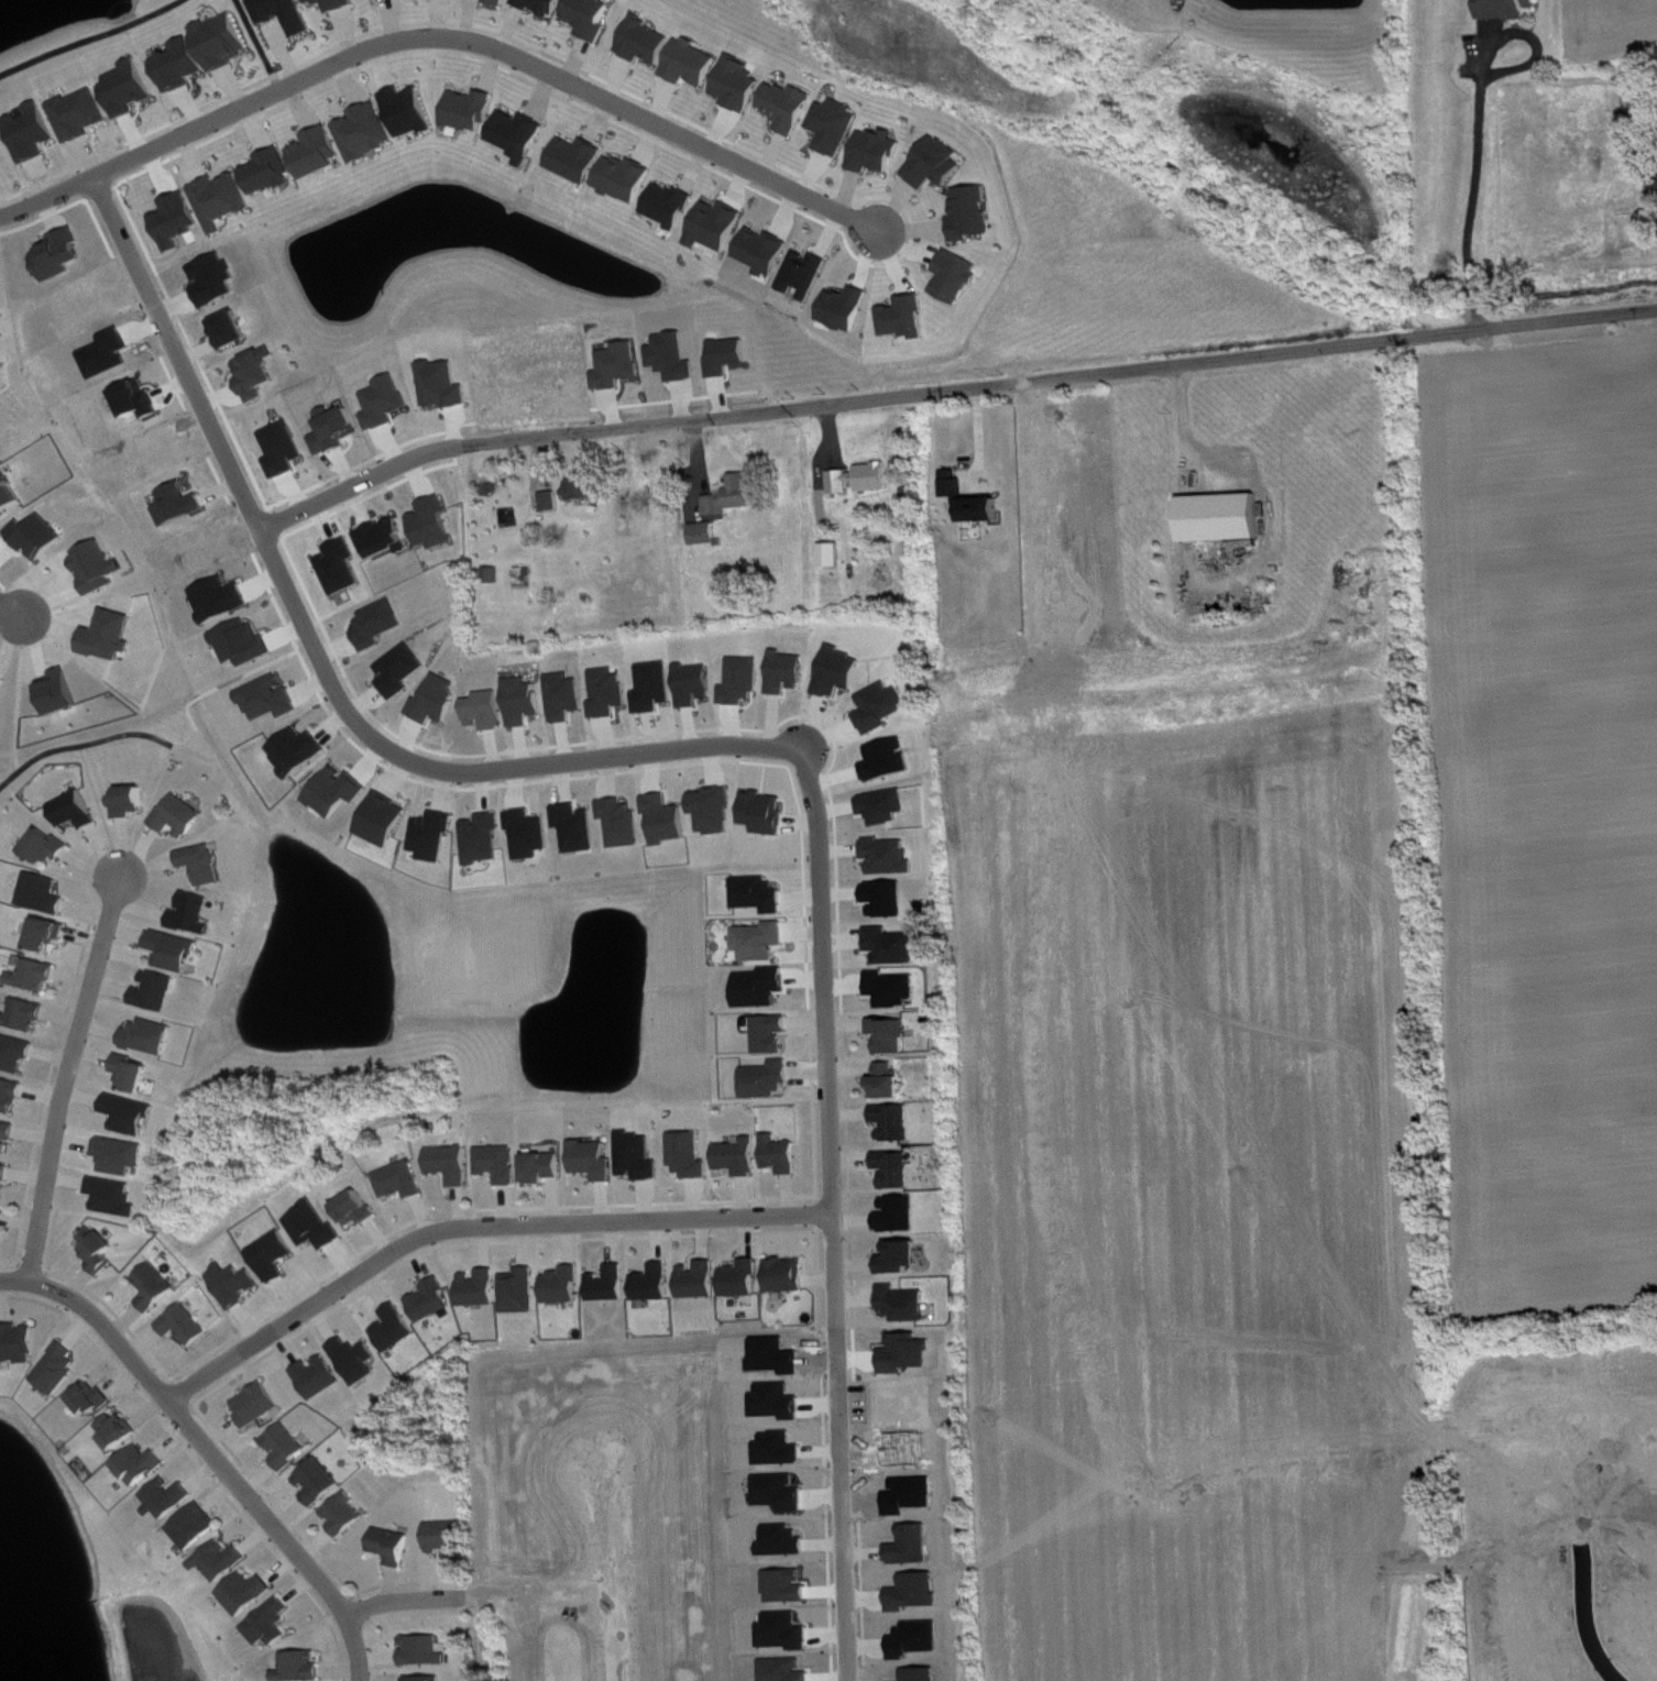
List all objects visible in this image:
building: (502, 2)
building: (338, 4)
building: (547, 7)
building: (1510, 9)
building: (288, 14)
building: (594, 17)
road: (90, 39)
building: (228, 41)
building: (648, 42)
road: (259, 43)
road: (493, 43)
building: (693, 63)
building: (184, 66)
building: (740, 85)
building: (132, 89)
building: (1637, 105)
building: (791, 107)
building: (411, 111)
building: (472, 111)
building: (85, 114)
building: (837, 127)
building: (369, 132)
building: (36, 133)
building: (520, 135)
building: (878, 151)
building: (320, 152)
building: (579, 160)
building: (939, 164)
building: (272, 172)
building: (627, 178)
road: (1470, 185)
road: (47, 196)
building: (224, 200)
building: (671, 205)
building: (974, 213)
building: (718, 226)
building: (766, 251)
building: (958, 277)
building: (218, 283)
building: (907, 318)
building: (233, 330)
building: (257, 375)
building: (387, 403)
road: (755, 414)
building: (285, 449)
building: (864, 479)
building: (586, 486)
building: (10, 494)
building: (735, 496)
building: (974, 501)
building: (553, 502)
building: (180, 504)
building: (1222, 518)
building: (435, 524)
building: (706, 534)
building: (39, 536)
building: (385, 538)
building: (834, 556)
building: (99, 567)
building: (341, 567)
building: (495, 575)
building: (221, 600)
road: (11, 611)
road: (301, 628)
building: (110, 636)
building: (244, 644)
building: (402, 670)
building: (788, 672)
building: (841, 672)
building: (744, 681)
building: (3, 683)
building: (696, 684)
building: (656, 688)
building: (62, 692)
building: (611, 693)
building: (567, 696)
building: (271, 699)
building: (438, 700)
building: (525, 702)
building: (884, 707)
building: (486, 711)
road: (81, 744)
building: (298, 751)
road: (575, 759)
building: (890, 760)
building: (338, 792)
building: (132, 801)
road: (99, 806)
building: (886, 806)
building: (77, 810)
building: (715, 811)
building: (766, 813)
building: (180, 816)
building: (384, 820)
building: (667, 820)
building: (623, 823)
building: (578, 827)
building: (530, 834)
building: (435, 836)
building: (484, 839)
building: (50, 847)
building: (891, 857)
building: (204, 864)
building: (44, 894)
building: (761, 894)
building: (889, 899)
building: (194, 914)
building: (50, 934)
building: (762, 941)
building: (895, 946)
building: (175, 951)
building: (36, 976)
building: (764, 988)
building: (895, 989)
building: (157, 991)
building: (25, 1014)
building: (773, 1034)
road: (824, 1035)
building: (892, 1036)
building: (150, 1037)
building: (17, 1054)
road: (67, 1073)
building: (135, 1074)
building: (769, 1080)
building: (890, 1083)
building: (11, 1096)
building: (132, 1114)
building: (896, 1122)
building: (8, 1135)
building: (782, 1155)
building: (122, 1156)
building: (691, 1156)
building: (640, 1157)
building: (740, 1157)
building: (595, 1160)
building: (453, 1164)
building: (501, 1164)
building: (546, 1167)
building: (897, 1169)
building: (4, 1175)
building: (402, 1180)
building: (116, 1197)
building: (358, 1209)
building: (900, 1215)
building: (0, 1216)
road: (475, 1222)
building: (315, 1227)
building: (100, 1250)
building: (274, 1256)
building: (902, 1259)
building: (789, 1275)
road: (13, 1277)
building: (743, 1279)
building: (701, 1281)
building: (656, 1284)
building: (237, 1285)
building: (612, 1285)
building: (566, 1286)
building: (157, 1287)
building: (481, 1288)
building: (522, 1292)
building: (432, 1301)
building: (906, 1304)
building: (187, 1326)
building: (395, 1329)
building: (19, 1344)
building: (356, 1360)
building: (59, 1370)
building: (319, 1377)
building: (95, 1399)
building: (259, 1405)
building: (120, 1430)
building: (287, 1447)
road: (220, 1459)
building: (144, 1465)
building: (320, 1482)
building: (169, 1498)
road: (841, 1505)
building: (345, 1515)
building: (197, 1527)
building: (448, 1539)
building: (394, 1546)
building: (222, 1561)
road: (585, 1589)
building: (248, 1593)
road: (410, 1597)
road: (1584, 1622)
building: (272, 1623)
building: (426, 1651)
building: (303, 1667)
building: (426, 1679)

